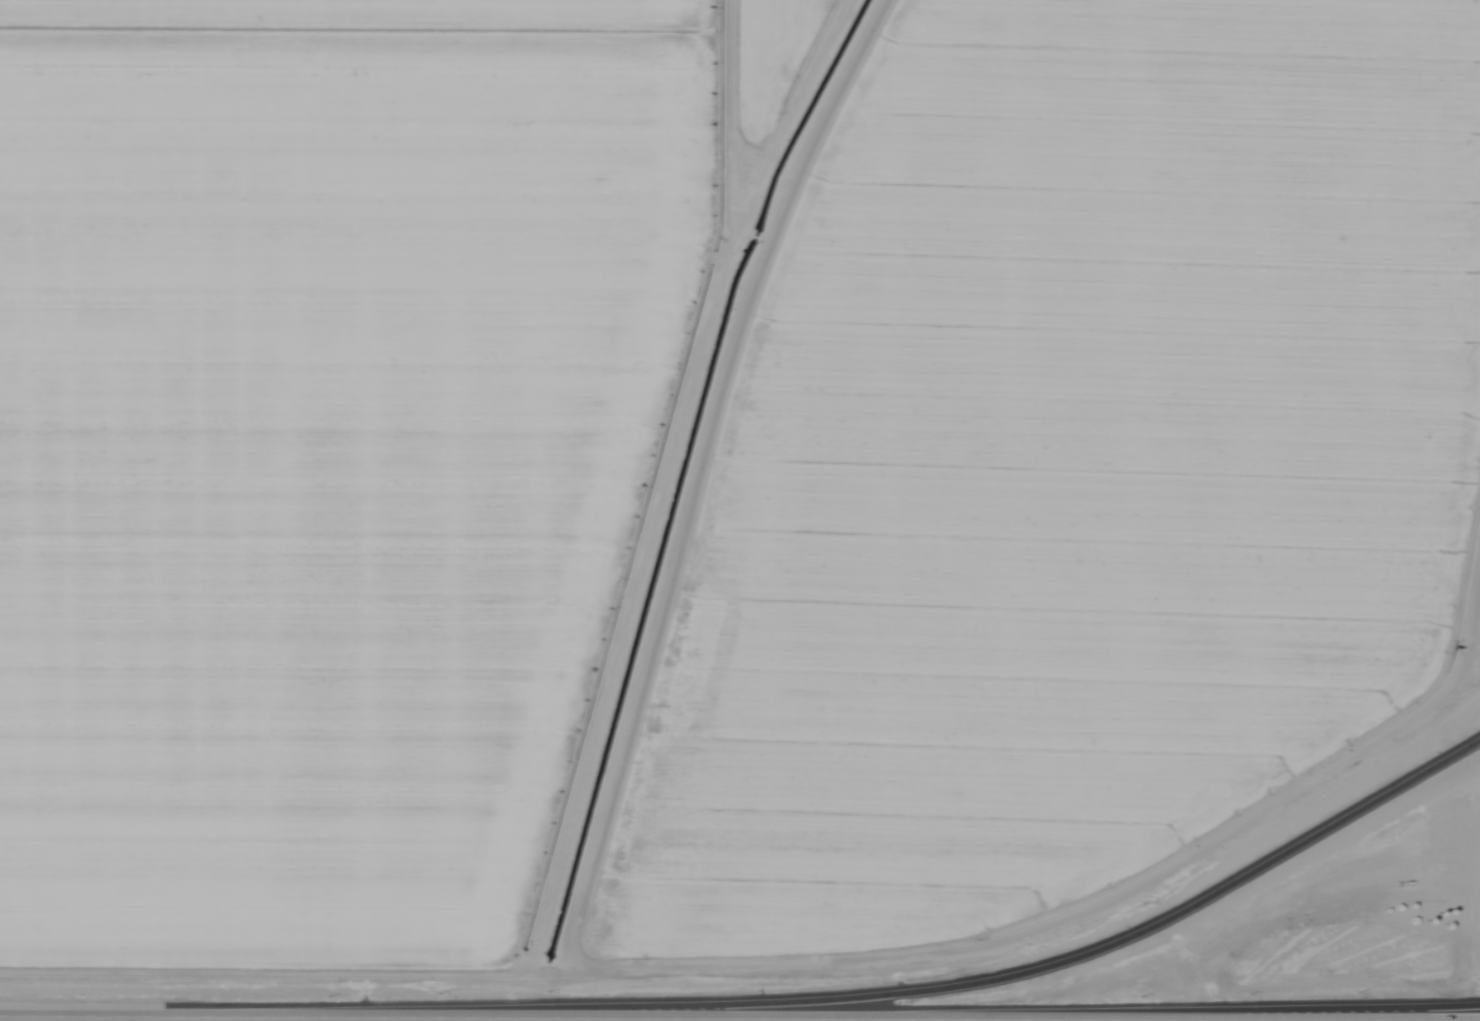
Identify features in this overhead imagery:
road: (972, 983)
road: (1390, 1011)
road: (740, 1017)

